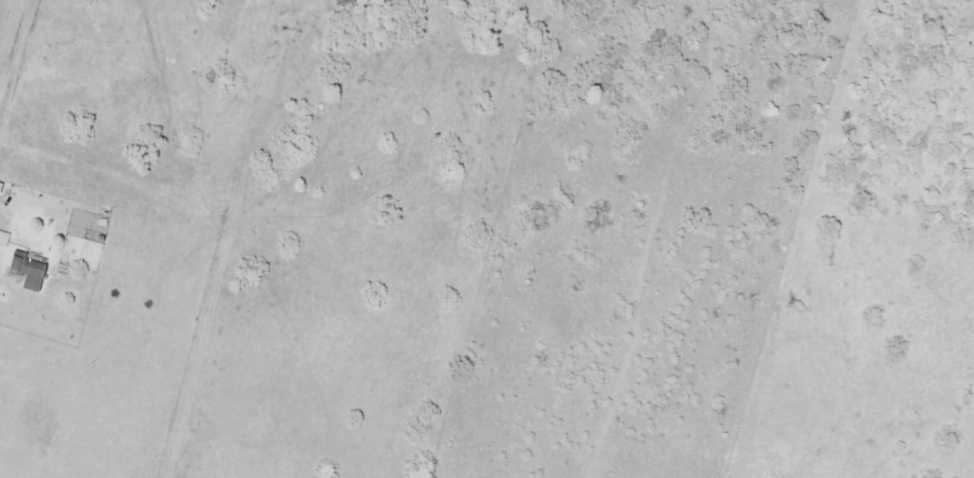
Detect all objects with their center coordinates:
building: (3, 236)

